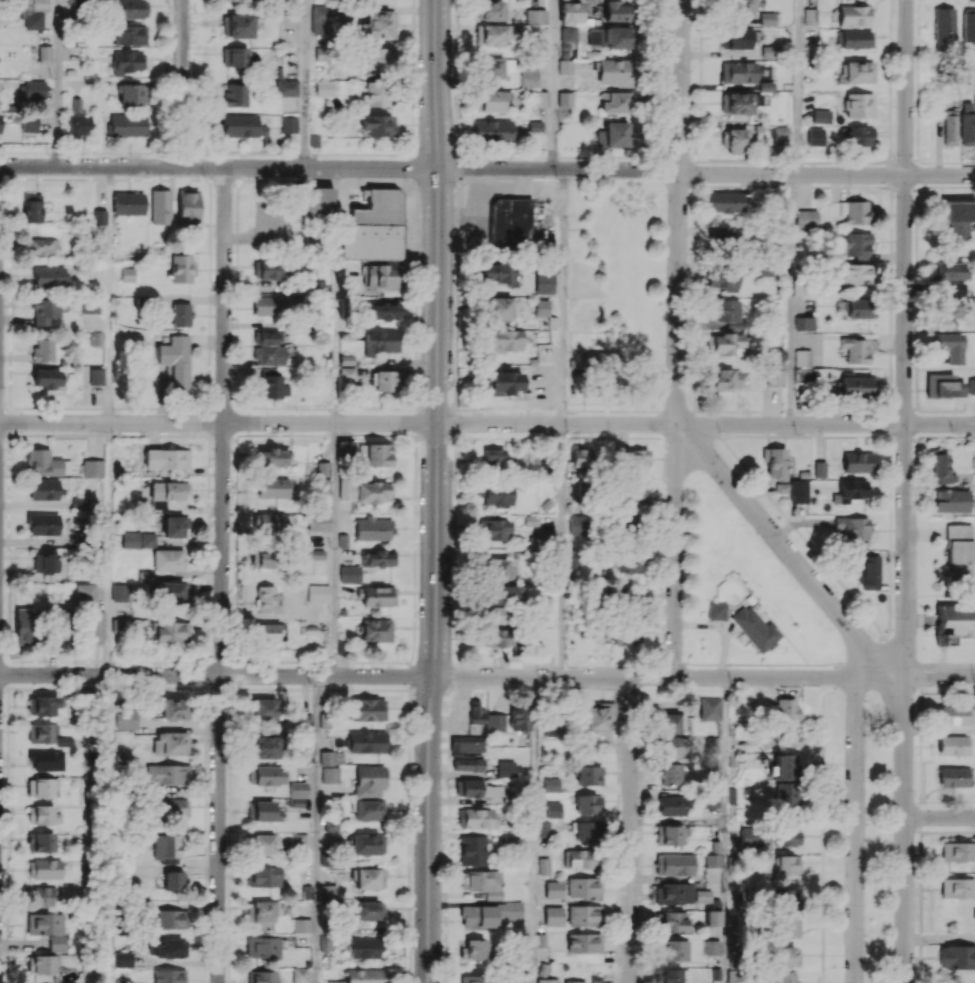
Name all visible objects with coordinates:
building: (235, 0)
building: (39, 5)
building: (739, 8)
building: (129, 9)
building: (489, 10)
building: (615, 11)
building: (569, 13)
building: (853, 15)
building: (534, 16)
building: (809, 16)
building: (766, 18)
building: (33, 20)
building: (319, 20)
building: (237, 25)
building: (377, 25)
building: (969, 25)
building: (944, 26)
building: (129, 34)
building: (491, 34)
building: (567, 34)
building: (609, 36)
building: (735, 38)
building: (853, 38)
building: (44, 52)
building: (320, 55)
building: (235, 56)
building: (377, 58)
building: (128, 62)
building: (564, 67)
building: (490, 68)
building: (856, 71)
building: (612, 72)
building: (737, 72)
building: (528, 78)
road: (57, 83)
road: (182, 83)
road: (307, 84)
road: (554, 84)
building: (286, 87)
road: (796, 87)
building: (324, 88)
building: (33, 89)
building: (132, 94)
building: (235, 94)
building: (375, 94)
building: (538, 98)
building: (564, 98)
building: (491, 100)
building: (613, 101)
building: (739, 102)
building: (75, 105)
building: (858, 105)
building: (821, 116)
building: (28, 124)
building: (289, 124)
building: (967, 124)
building: (77, 125)
building: (128, 125)
building: (239, 125)
building: (377, 125)
building: (950, 127)
building: (492, 130)
building: (780, 133)
building: (613, 135)
building: (857, 135)
building: (815, 136)
building: (734, 140)
road: (487, 168)
building: (316, 201)
building: (723, 201)
building: (128, 203)
building: (160, 206)
building: (188, 206)
building: (31, 207)
building: (853, 211)
building: (99, 216)
building: (806, 217)
building: (959, 218)
building: (510, 223)
building: (373, 227)
building: (722, 239)
building: (854, 244)
building: (41, 246)
building: (181, 269)
building: (267, 269)
building: (766, 269)
building: (950, 271)
building: (496, 272)
building: (127, 274)
building: (856, 274)
building: (49, 276)
building: (382, 277)
building: (722, 279)
building: (543, 282)
building: (315, 286)
building: (956, 289)
road: (109, 294)
road: (337, 295)
road: (563, 296)
road: (789, 298)
building: (90, 305)
building: (270, 305)
building: (541, 307)
building: (498, 308)
building: (859, 308)
building: (948, 308)
building: (45, 310)
building: (385, 310)
building: (724, 311)
building: (178, 314)
building: (805, 323)
building: (948, 325)
building: (97, 338)
road: (438, 338)
road: (905, 338)
building: (505, 340)
building: (381, 341)
building: (724, 343)
building: (950, 346)
building: (268, 348)
building: (43, 349)
building: (858, 349)
building: (776, 354)
building: (802, 357)
building: (345, 359)
building: (588, 359)
building: (175, 361)
road: (676, 371)
building: (346, 373)
building: (805, 375)
building: (774, 377)
building: (47, 379)
building: (725, 379)
building: (384, 380)
building: (503, 382)
building: (856, 385)
building: (943, 385)
building: (273, 386)
road: (487, 423)
building: (345, 446)
building: (374, 454)
building: (272, 457)
building: (492, 457)
building: (580, 457)
building: (637, 458)
building: (166, 459)
building: (775, 462)
building: (858, 462)
building: (45, 463)
building: (92, 467)
building: (323, 468)
building: (819, 469)
building: (941, 469)
building: (274, 487)
building: (781, 488)
building: (44, 489)
building: (852, 490)
building: (364, 491)
building: (798, 491)
building: (166, 493)
building: (496, 494)
building: (636, 494)
building: (951, 501)
building: (318, 521)
building: (627, 521)
building: (43, 524)
building: (270, 524)
building: (577, 524)
building: (175, 526)
building: (372, 528)
building: (853, 528)
building: (493, 529)
building: (138, 539)
road: (107, 548)
road: (337, 549)
road: (561, 550)
building: (959, 550)
road: (677, 551)
building: (316, 554)
building: (377, 557)
building: (262, 558)
building: (572, 558)
building: (168, 560)
building: (626, 563)
building: (46, 565)
building: (496, 569)
building: (869, 572)
building: (349, 573)
road: (223, 575)
building: (144, 576)
building: (171, 590)
building: (119, 592)
building: (317, 593)
building: (85, 594)
building: (629, 595)
building: (377, 596)
building: (264, 599)
building: (498, 602)
building: (716, 610)
building: (954, 621)
building: (24, 626)
building: (59, 626)
building: (116, 626)
building: (94, 627)
building: (755, 628)
building: (375, 630)
building: (169, 631)
building: (269, 633)
building: (627, 634)
building: (498, 637)
road: (216, 675)
road: (645, 678)
road: (880, 678)
road: (939, 678)
building: (42, 706)
building: (264, 708)
building: (710, 708)
building: (173, 709)
building: (369, 709)
building: (786, 709)
building: (953, 715)
building: (596, 716)
building: (485, 717)
building: (124, 718)
building: (519, 719)
building: (304, 721)
building: (671, 723)
building: (552, 726)
building: (41, 733)
building: (788, 736)
building: (64, 741)
building: (366, 741)
building: (170, 743)
building: (467, 744)
building: (670, 745)
building: (953, 745)
building: (264, 747)
building: (330, 757)
building: (46, 759)
building: (467, 763)
building: (506, 768)
building: (166, 773)
building: (670, 773)
building: (329, 774)
building: (265, 775)
building: (588, 775)
building: (953, 777)
building: (369, 780)
building: (784, 781)
building: (551, 784)
building: (41, 787)
building: (476, 788)
building: (296, 794)
building: (710, 799)
building: (588, 804)
building: (672, 805)
building: (171, 807)
building: (553, 809)
building: (368, 810)
building: (262, 811)
building: (42, 814)
road: (940, 817)
building: (476, 818)
building: (331, 826)
building: (543, 827)
road: (88, 829)
road: (318, 829)
road: (428, 829)
road: (535, 830)
building: (587, 830)
road: (630, 830)
road: (726, 830)
road: (856, 830)
road: (905, 830)
building: (671, 834)
building: (786, 834)
building: (749, 835)
building: (298, 840)
building: (40, 841)
building: (264, 843)
building: (366, 843)
building: (165, 846)
building: (472, 850)
building: (958, 851)
building: (581, 858)
building: (712, 860)
building: (675, 864)
building: (788, 865)
building: (544, 866)
building: (44, 868)
building: (264, 876)
building: (368, 877)
building: (172, 880)
building: (482, 882)
building: (584, 887)
building: (953, 888)
building: (554, 889)
building: (673, 893)
building: (44, 896)
building: (786, 899)
building: (367, 910)
building: (262, 913)
building: (488, 913)
building: (553, 915)
building: (584, 915)
building: (713, 918)
building: (170, 919)
building: (672, 921)
building: (45, 924)
building: (302, 925)
building: (786, 927)
road: (940, 938)
building: (584, 942)
building: (58, 943)
building: (325, 943)
building: (262, 947)
building: (365, 947)
building: (711, 947)
building: (167, 948)
building: (473, 950)
building: (672, 950)
building: (785, 956)
building: (957, 957)
building: (121, 959)
building: (42, 964)
building: (300, 975)
building: (364, 975)
building: (671, 975)
building: (169, 976)
building: (261, 976)
building: (784, 977)
building: (477, 978)
building: (547, 980)
building: (122, 981)
building: (335, 981)
building: (574, 981)

